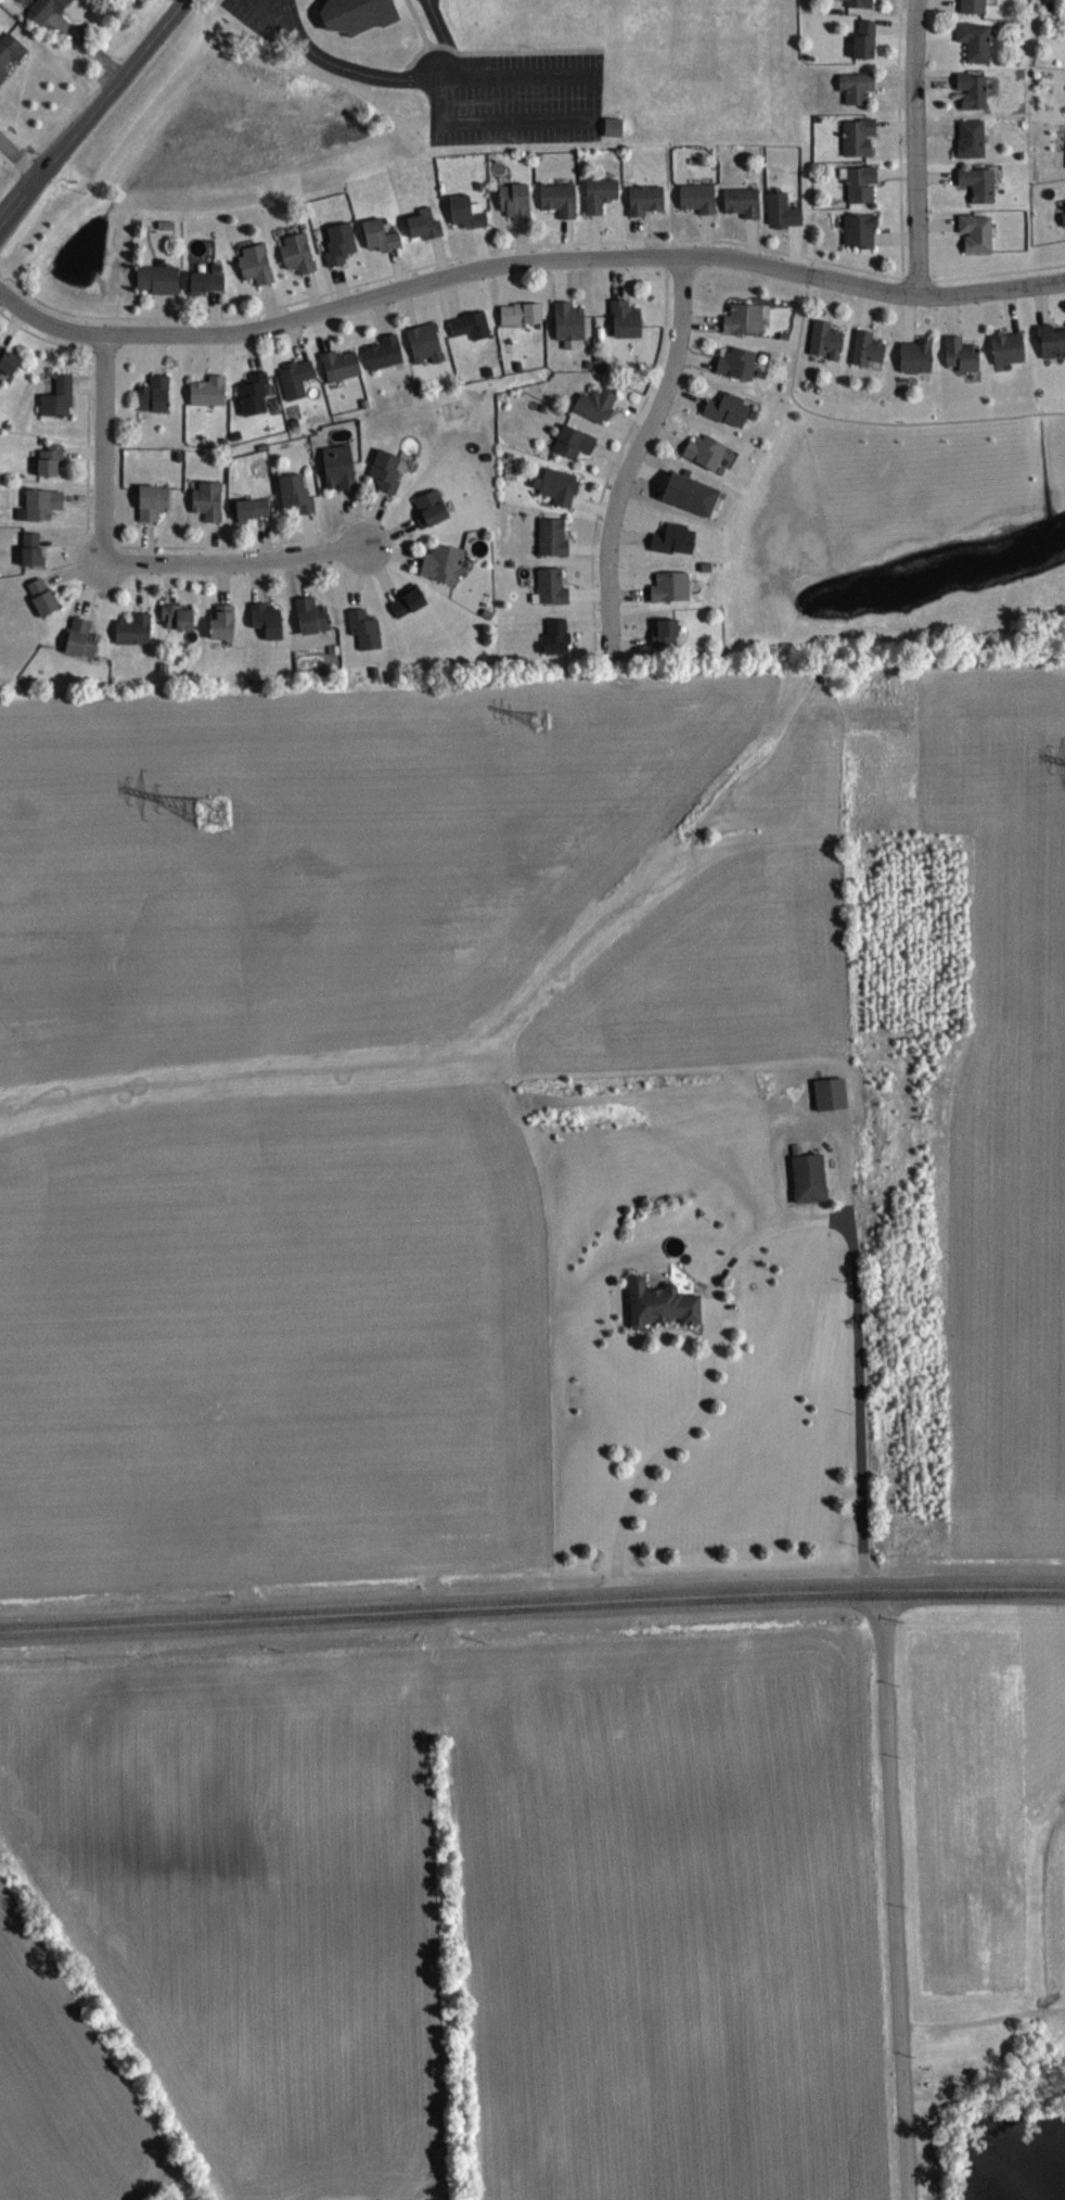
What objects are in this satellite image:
building: (863, 3)
building: (976, 7)
building: (48, 9)
building: (360, 14)
building: (868, 40)
building: (978, 41)
building: (11, 54)
road: (420, 78)
building: (859, 87)
building: (975, 91)
road: (91, 115)
building: (616, 127)
building: (861, 137)
building: (974, 139)
road: (914, 144)
road: (21, 160)
building: (862, 183)
building: (981, 183)
building: (603, 194)
building: (702, 198)
building: (563, 199)
building: (649, 200)
building: (518, 201)
building: (745, 202)
building: (470, 212)
building: (786, 212)
building: (1064, 214)
building: (427, 225)
building: (863, 230)
building: (979, 233)
building: (383, 236)
building: (343, 243)
building: (300, 253)
building: (258, 264)
road: (523, 266)
building: (161, 279)
building: (210, 280)
building: (524, 314)
building: (747, 318)
building: (629, 319)
building: (573, 325)
building: (475, 326)
building: (829, 340)
building: (1053, 341)
building: (428, 343)
building: (1011, 347)
building: (870, 348)
building: (387, 353)
building: (964, 355)
building: (919, 356)
building: (10, 360)
building: (741, 364)
building: (343, 365)
building: (299, 379)
building: (211, 392)
building: (258, 393)
building: (158, 395)
building: (61, 397)
building: (599, 405)
building: (732, 410)
building: (577, 442)
road: (106, 450)
building: (708, 452)
road: (636, 455)
building: (53, 460)
building: (342, 468)
building: (389, 470)
building: (561, 486)
building: (298, 493)
building: (693, 494)
building: (210, 500)
building: (155, 503)
building: (256, 508)
building: (433, 509)
building: (555, 537)
building: (678, 539)
building: (35, 549)
building: (446, 563)
road: (236, 565)
building: (553, 587)
building: (673, 587)
building: (46, 596)
building: (411, 603)
building: (180, 616)
building: (315, 616)
building: (270, 620)
building: (226, 623)
building: (137, 630)
building: (368, 630)
building: (668, 633)
building: (560, 637)
building: (85, 638)
power tower: (540, 721)
power tower: (214, 813)
building: (833, 1094)
building: (812, 1179)
road: (784, 1228)
building: (664, 1305)
road: (531, 1605)
road: (897, 1896)
road: (984, 2021)

